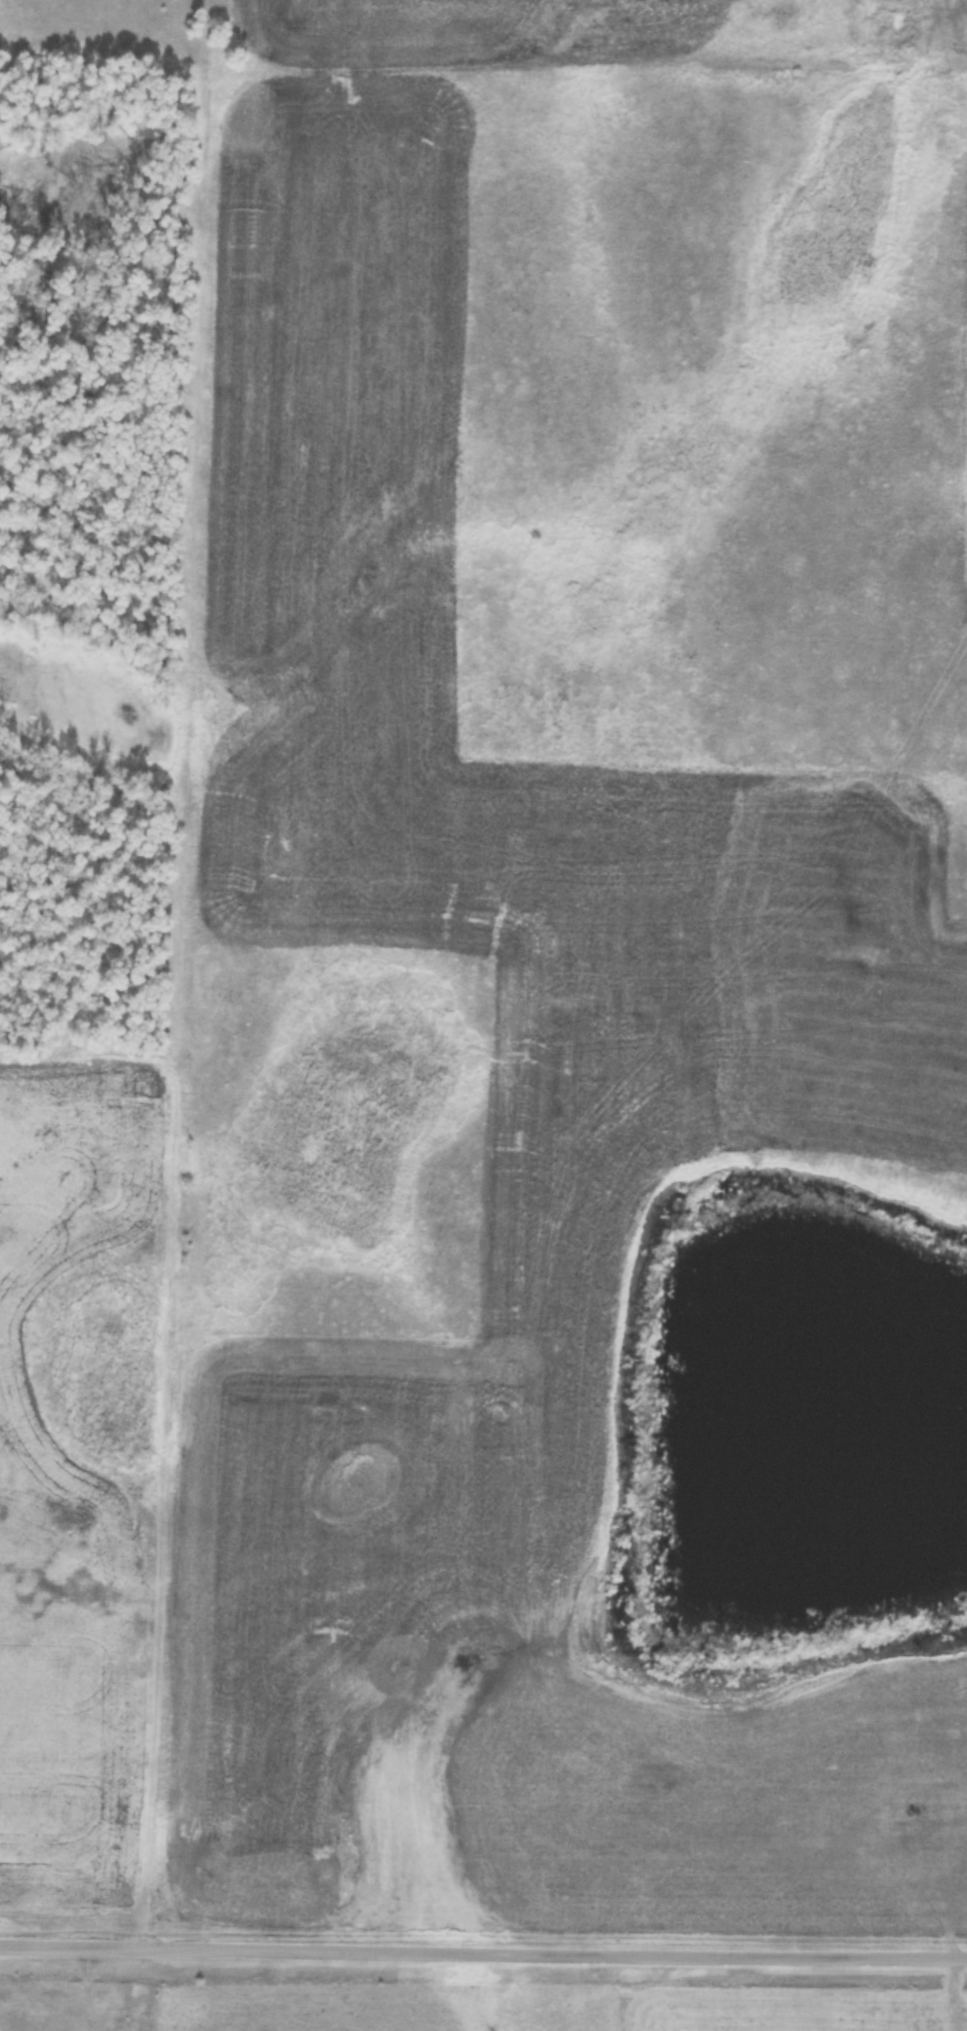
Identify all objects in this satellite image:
road: (178, 1080)
road: (142, 1947)
road: (626, 1954)

